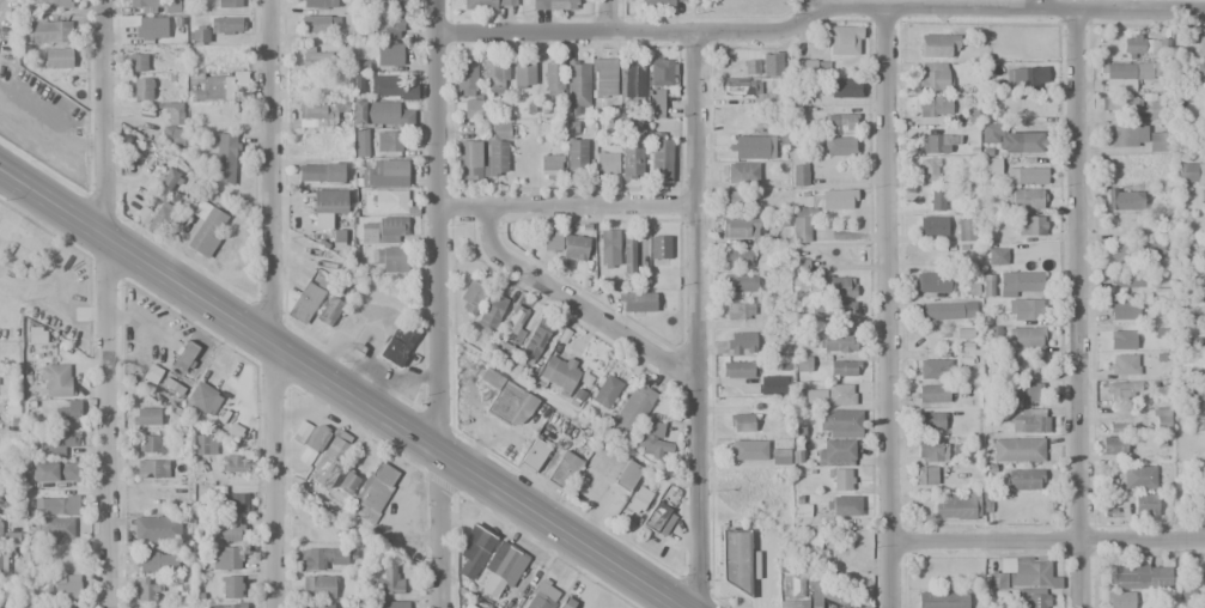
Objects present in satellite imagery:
building: (50, 4)
building: (142, 4)
building: (226, 4)
building: (657, 4)
road: (808, 4)
road: (1034, 4)
building: (318, 5)
building: (390, 5)
building: (488, 5)
building: (552, 5)
building: (171, 6)
road: (817, 7)
road: (604, 14)
building: (319, 24)
building: (226, 25)
building: (150, 28)
building: (47, 29)
building: (383, 29)
building: (197, 37)
building: (844, 41)
building: (937, 45)
building: (1145, 45)
building: (1200, 45)
building: (388, 54)
building: (57, 57)
building: (315, 57)
building: (136, 62)
building: (771, 66)
building: (809, 66)
building: (750, 67)
building: (1121, 71)
building: (1197, 73)
building: (522, 74)
building: (553, 75)
building: (465, 77)
building: (495, 77)
building: (603, 77)
building: (932, 77)
building: (1027, 78)
building: (312, 81)
building: (631, 83)
building: (657, 83)
building: (209, 86)
building: (390, 87)
building: (141, 89)
building: (844, 89)
building: (576, 90)
building: (763, 98)
building: (1118, 102)
building: (1154, 105)
building: (935, 107)
building: (1204, 107)
building: (468, 109)
building: (379, 113)
building: (317, 114)
building: (842, 121)
building: (171, 124)
building: (637, 128)
building: (1127, 136)
building: (314, 140)
building: (1011, 140)
building: (387, 141)
building: (1156, 141)
building: (361, 142)
building: (1203, 142)
building: (937, 144)
building: (839, 146)
building: (753, 147)
building: (493, 150)
building: (576, 153)
building: (225, 156)
building: (468, 160)
building: (659, 160)
building: (605, 162)
building: (631, 163)
building: (550, 165)
building: (1189, 169)
building: (927, 170)
building: (319, 172)
building: (385, 172)
building: (742, 172)
building: (799, 175)
building: (1030, 176)
building: (165, 184)
building: (1026, 199)
building: (1119, 199)
building: (1203, 199)
building: (732, 200)
building: (836, 200)
building: (936, 200)
building: (387, 202)
building: (327, 206)
road: (566, 207)
building: (154, 218)
building: (801, 226)
building: (932, 226)
building: (1030, 226)
building: (740, 227)
building: (382, 230)
building: (963, 230)
building: (208, 232)
building: (552, 239)
building: (574, 247)
building: (659, 247)
building: (608, 248)
building: (1152, 250)
building: (1122, 251)
building: (1203, 253)
building: (631, 254)
building: (738, 256)
building: (997, 256)
building: (390, 259)
building: (1125, 279)
building: (738, 282)
building: (932, 282)
building: (1018, 282)
building: (836, 286)
building: (474, 296)
road: (574, 300)
building: (304, 302)
building: (634, 302)
road: (275, 303)
road: (105, 304)
road: (437, 304)
building: (844, 308)
road: (887, 308)
road: (1078, 308)
building: (1124, 309)
building: (329, 310)
building: (1026, 310)
building: (1204, 310)
building: (738, 311)
building: (947, 311)
building: (491, 312)
road: (695, 320)
building: (515, 323)
building: (36, 335)
building: (1026, 338)
building: (1121, 339)
building: (535, 341)
building: (839, 342)
building: (397, 343)
building: (741, 343)
building: (185, 355)
building: (1124, 364)
building: (1023, 365)
building: (841, 369)
building: (737, 370)
building: (935, 370)
building: (150, 372)
building: (558, 375)
building: (55, 381)
building: (771, 385)
road: (345, 387)
building: (605, 391)
building: (1121, 391)
building: (1027, 393)
building: (932, 394)
building: (830, 395)
building: (203, 397)
building: (1203, 397)
building: (510, 406)
building: (632, 411)
building: (68, 413)
building: (145, 414)
building: (1161, 419)
building: (840, 420)
building: (931, 421)
building: (741, 422)
building: (1029, 424)
building: (1114, 427)
building: (316, 436)
building: (652, 442)
building: (153, 443)
building: (205, 444)
building: (54, 445)
building: (1113, 445)
building: (929, 450)
building: (1017, 450)
building: (748, 451)
building: (835, 454)
building: (534, 456)
building: (779, 456)
building: (329, 461)
building: (236, 464)
building: (152, 468)
building: (564, 470)
building: (54, 472)
building: (626, 475)
building: (926, 475)
building: (1138, 476)
building: (841, 480)
building: (1026, 480)
building: (347, 482)
building: (373, 492)
building: (638, 500)
building: (235, 503)
building: (57, 505)
building: (845, 505)
building: (1144, 505)
building: (956, 507)
building: (658, 518)
building: (53, 527)
building: (0, 528)
building: (156, 528)
building: (225, 528)
building: (11, 537)
road: (1047, 541)
building: (474, 551)
building: (225, 558)
building: (322, 558)
building: (156, 560)
building: (735, 560)
building: (4, 563)
building: (505, 565)
building: (1203, 572)
building: (1018, 574)
building: (1126, 574)
building: (1160, 578)
building: (388, 580)
building: (63, 586)
building: (231, 586)
building: (796, 586)
building: (318, 588)
building: (147, 589)
building: (824, 595)
building: (542, 596)
building: (1185, 596)
building: (1031, 597)
building: (941, 600)
building: (1119, 600)
building: (1203, 600)
building: (2, 603)
building: (567, 603)
building: (793, 603)
building: (322, 604)
building: (390, 604)
building: (226, 606)
building: (7, 607)
building: (60, 607)
building: (463, 607)

